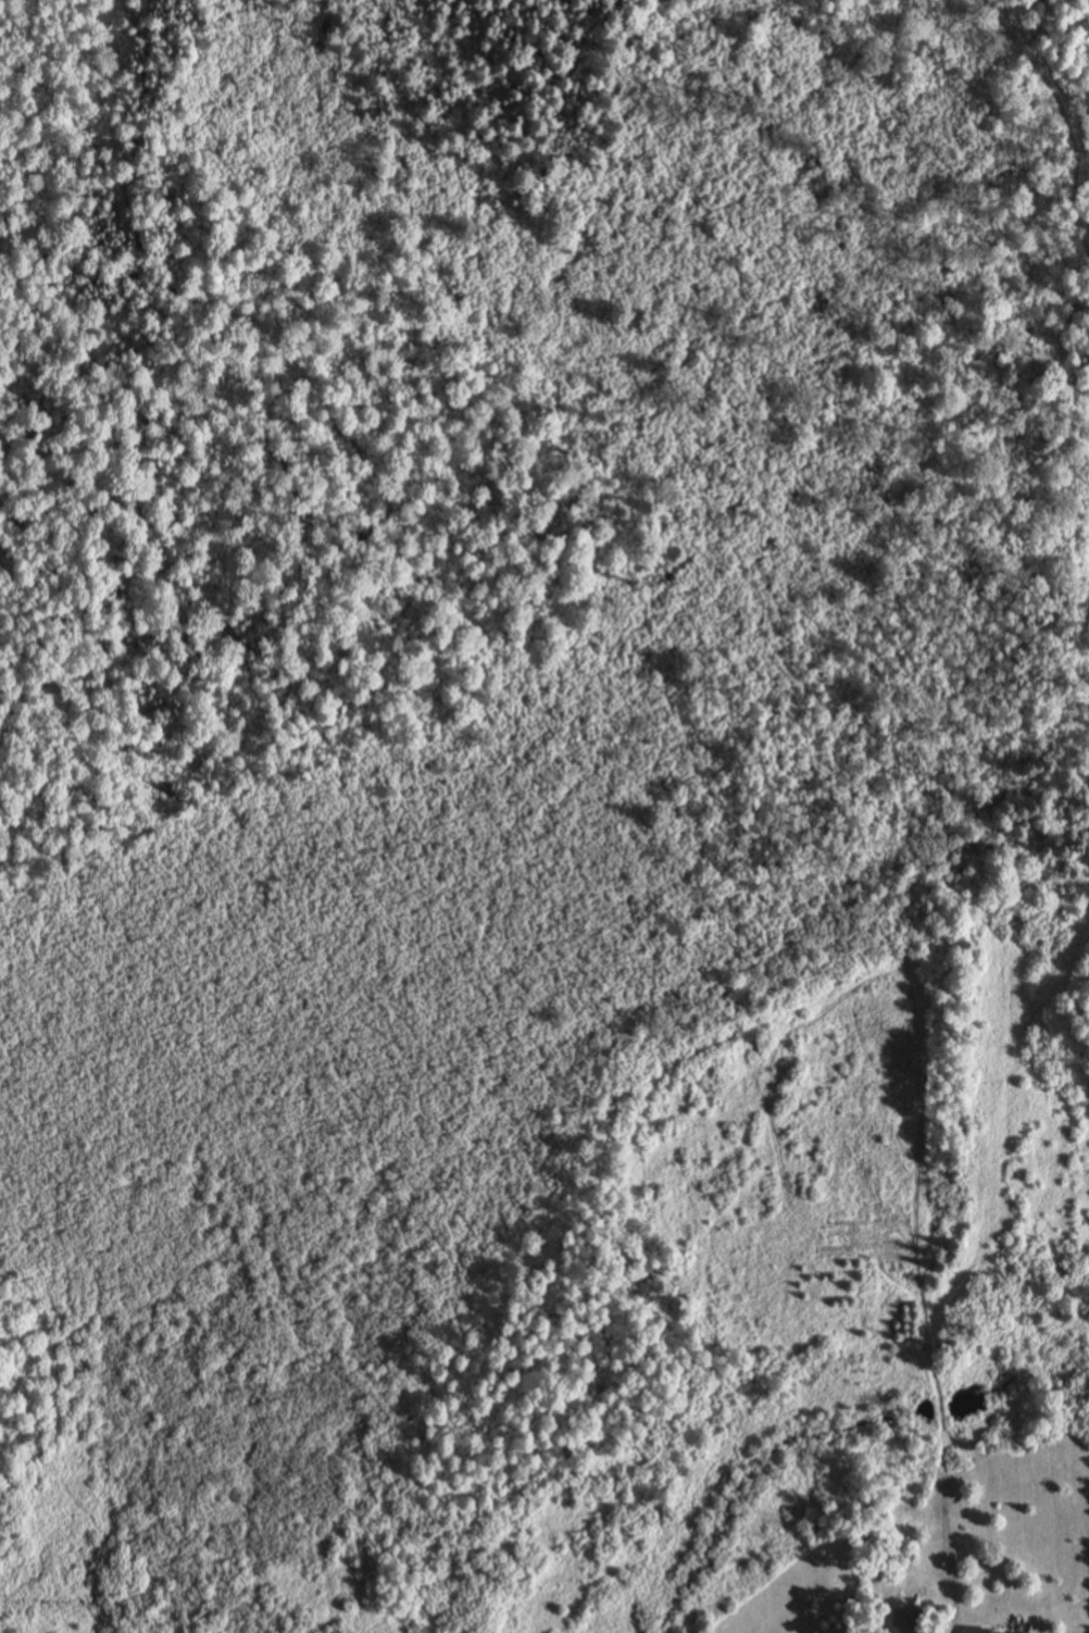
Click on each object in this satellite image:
building: (906, 1621)
building: (962, 1632)

